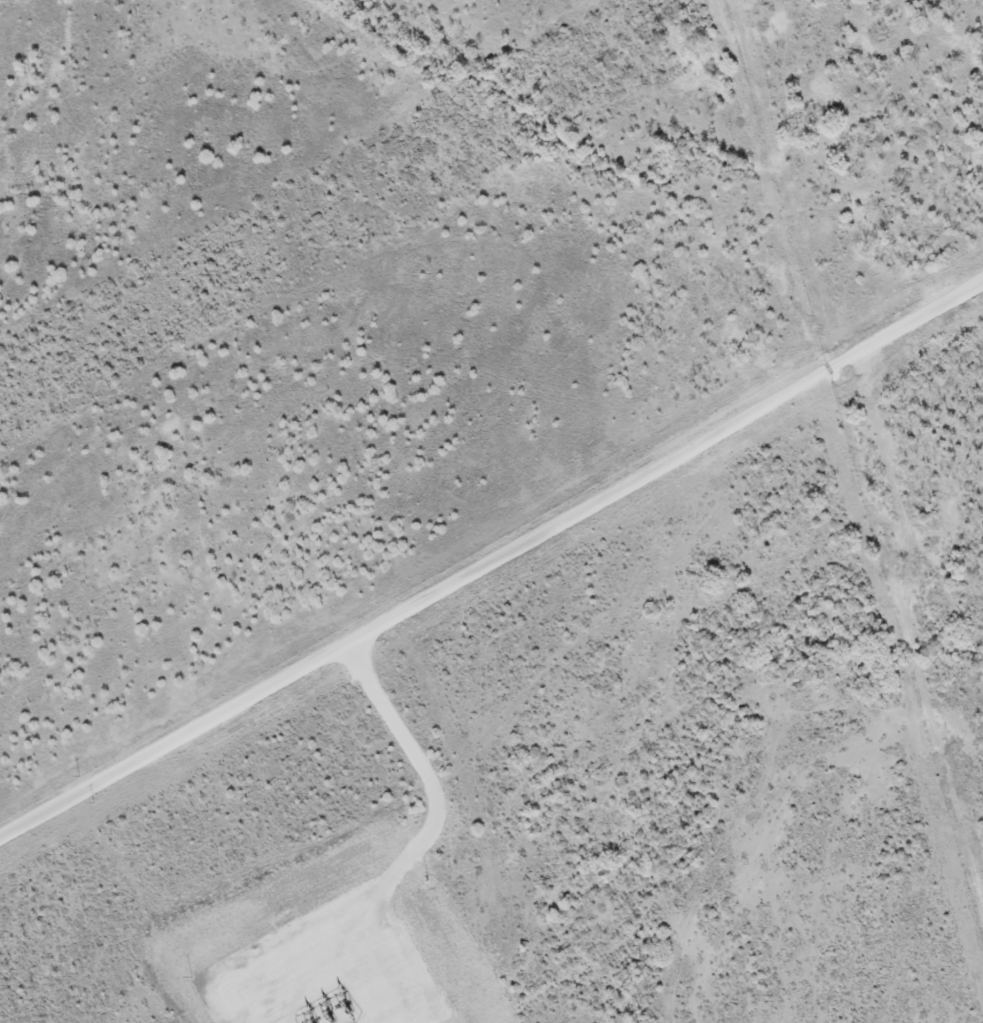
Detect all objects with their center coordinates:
road: (494, 565)

